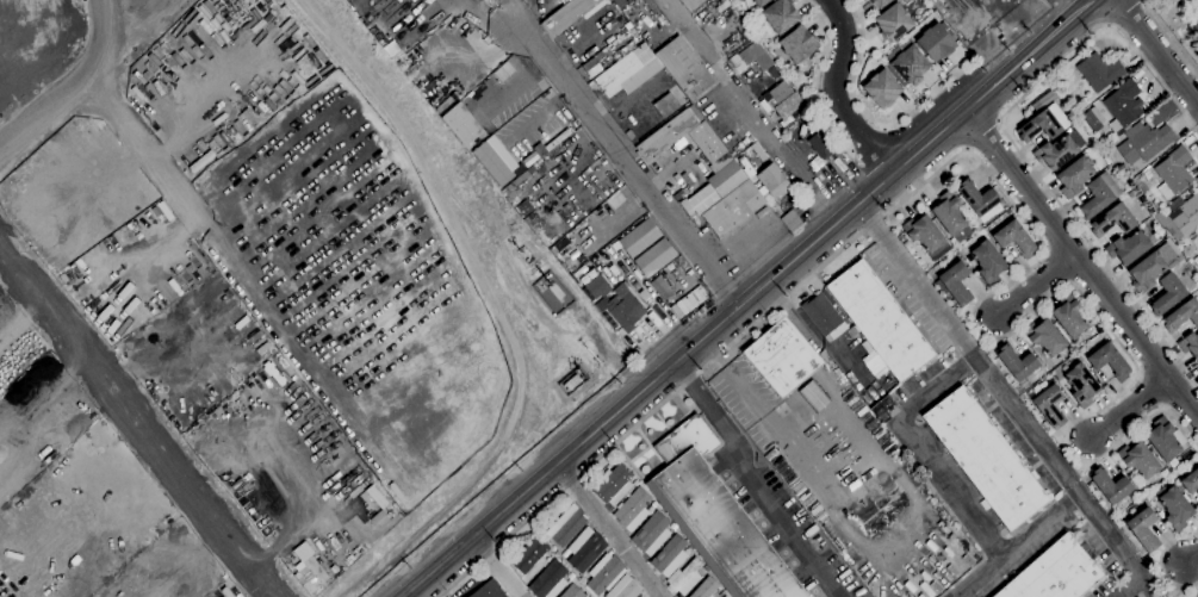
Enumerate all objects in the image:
building: (620, 2)
building: (761, 2)
building: (877, 2)
road: (1123, 12)
road: (510, 13)
building: (569, 15)
building: (781, 15)
road: (485, 20)
building: (892, 21)
building: (635, 36)
road: (1168, 41)
building: (935, 42)
building: (799, 44)
road: (1157, 52)
road: (1028, 55)
building: (751, 57)
building: (908, 64)
road: (64, 67)
building: (684, 67)
building: (629, 71)
building: (1099, 71)
road: (818, 75)
building: (881, 88)
road: (837, 92)
building: (783, 99)
building: (447, 102)
building: (1123, 105)
building: (1033, 107)
road: (873, 117)
building: (1092, 119)
building: (463, 123)
building: (789, 126)
building: (1039, 126)
building: (665, 136)
road: (864, 136)
road: (1010, 138)
building: (821, 141)
road: (929, 141)
building: (1144, 142)
building: (709, 145)
building: (1109, 149)
building: (1056, 151)
road: (787, 162)
building: (492, 163)
road: (626, 166)
road: (989, 172)
building: (1174, 172)
building: (1147, 173)
building: (1074, 176)
building: (774, 180)
building: (1130, 193)
building: (977, 197)
building: (725, 199)
building: (1094, 199)
building: (524, 207)
building: (951, 216)
building: (1184, 216)
building: (529, 218)
building: (1162, 218)
building: (1113, 220)
building: (924, 232)
building: (638, 237)
building: (1014, 238)
building: (1197, 238)
building: (1129, 247)
building: (1187, 249)
building: (653, 257)
building: (1196, 260)
building: (988, 261)
road: (1081, 261)
building: (1147, 272)
road: (1035, 282)
building: (954, 284)
building: (658, 287)
building: (555, 291)
building: (702, 292)
building: (1167, 293)
building: (613, 301)
road: (786, 309)
building: (824, 316)
building: (1069, 316)
building: (1183, 316)
building: (879, 318)
building: (1094, 329)
building: (852, 330)
building: (1045, 336)
building: (1190, 344)
road: (716, 349)
building: (782, 356)
building: (1110, 361)
building: (1016, 362)
building: (876, 365)
building: (572, 381)
road: (647, 384)
building: (1081, 385)
road: (1129, 404)
building: (1050, 406)
road: (1016, 411)
road: (134, 424)
road: (780, 433)
building: (1163, 439)
road: (919, 447)
building: (986, 458)
building: (1138, 459)
building: (635, 481)
road: (752, 481)
building: (1190, 481)
building: (614, 484)
building: (1111, 486)
building: (654, 504)
building: (1175, 508)
building: (633, 509)
building: (1161, 514)
building: (715, 517)
building: (566, 524)
building: (674, 527)
building: (1143, 528)
road: (607, 529)
building: (652, 533)
road: (1109, 536)
building: (584, 549)
building: (669, 555)
road: (1190, 556)
building: (529, 559)
road: (1162, 561)
road: (496, 566)
building: (707, 568)
building: (604, 573)
building: (1055, 573)
building: (571, 576)
building: (684, 577)
building: (550, 580)
building: (583, 580)
building: (625, 587)
building: (706, 587)
road: (1129, 587)
building: (489, 590)
building: (572, 591)
building: (1196, 595)
building: (643, 596)
building: (724, 596)
building: (726, 596)

